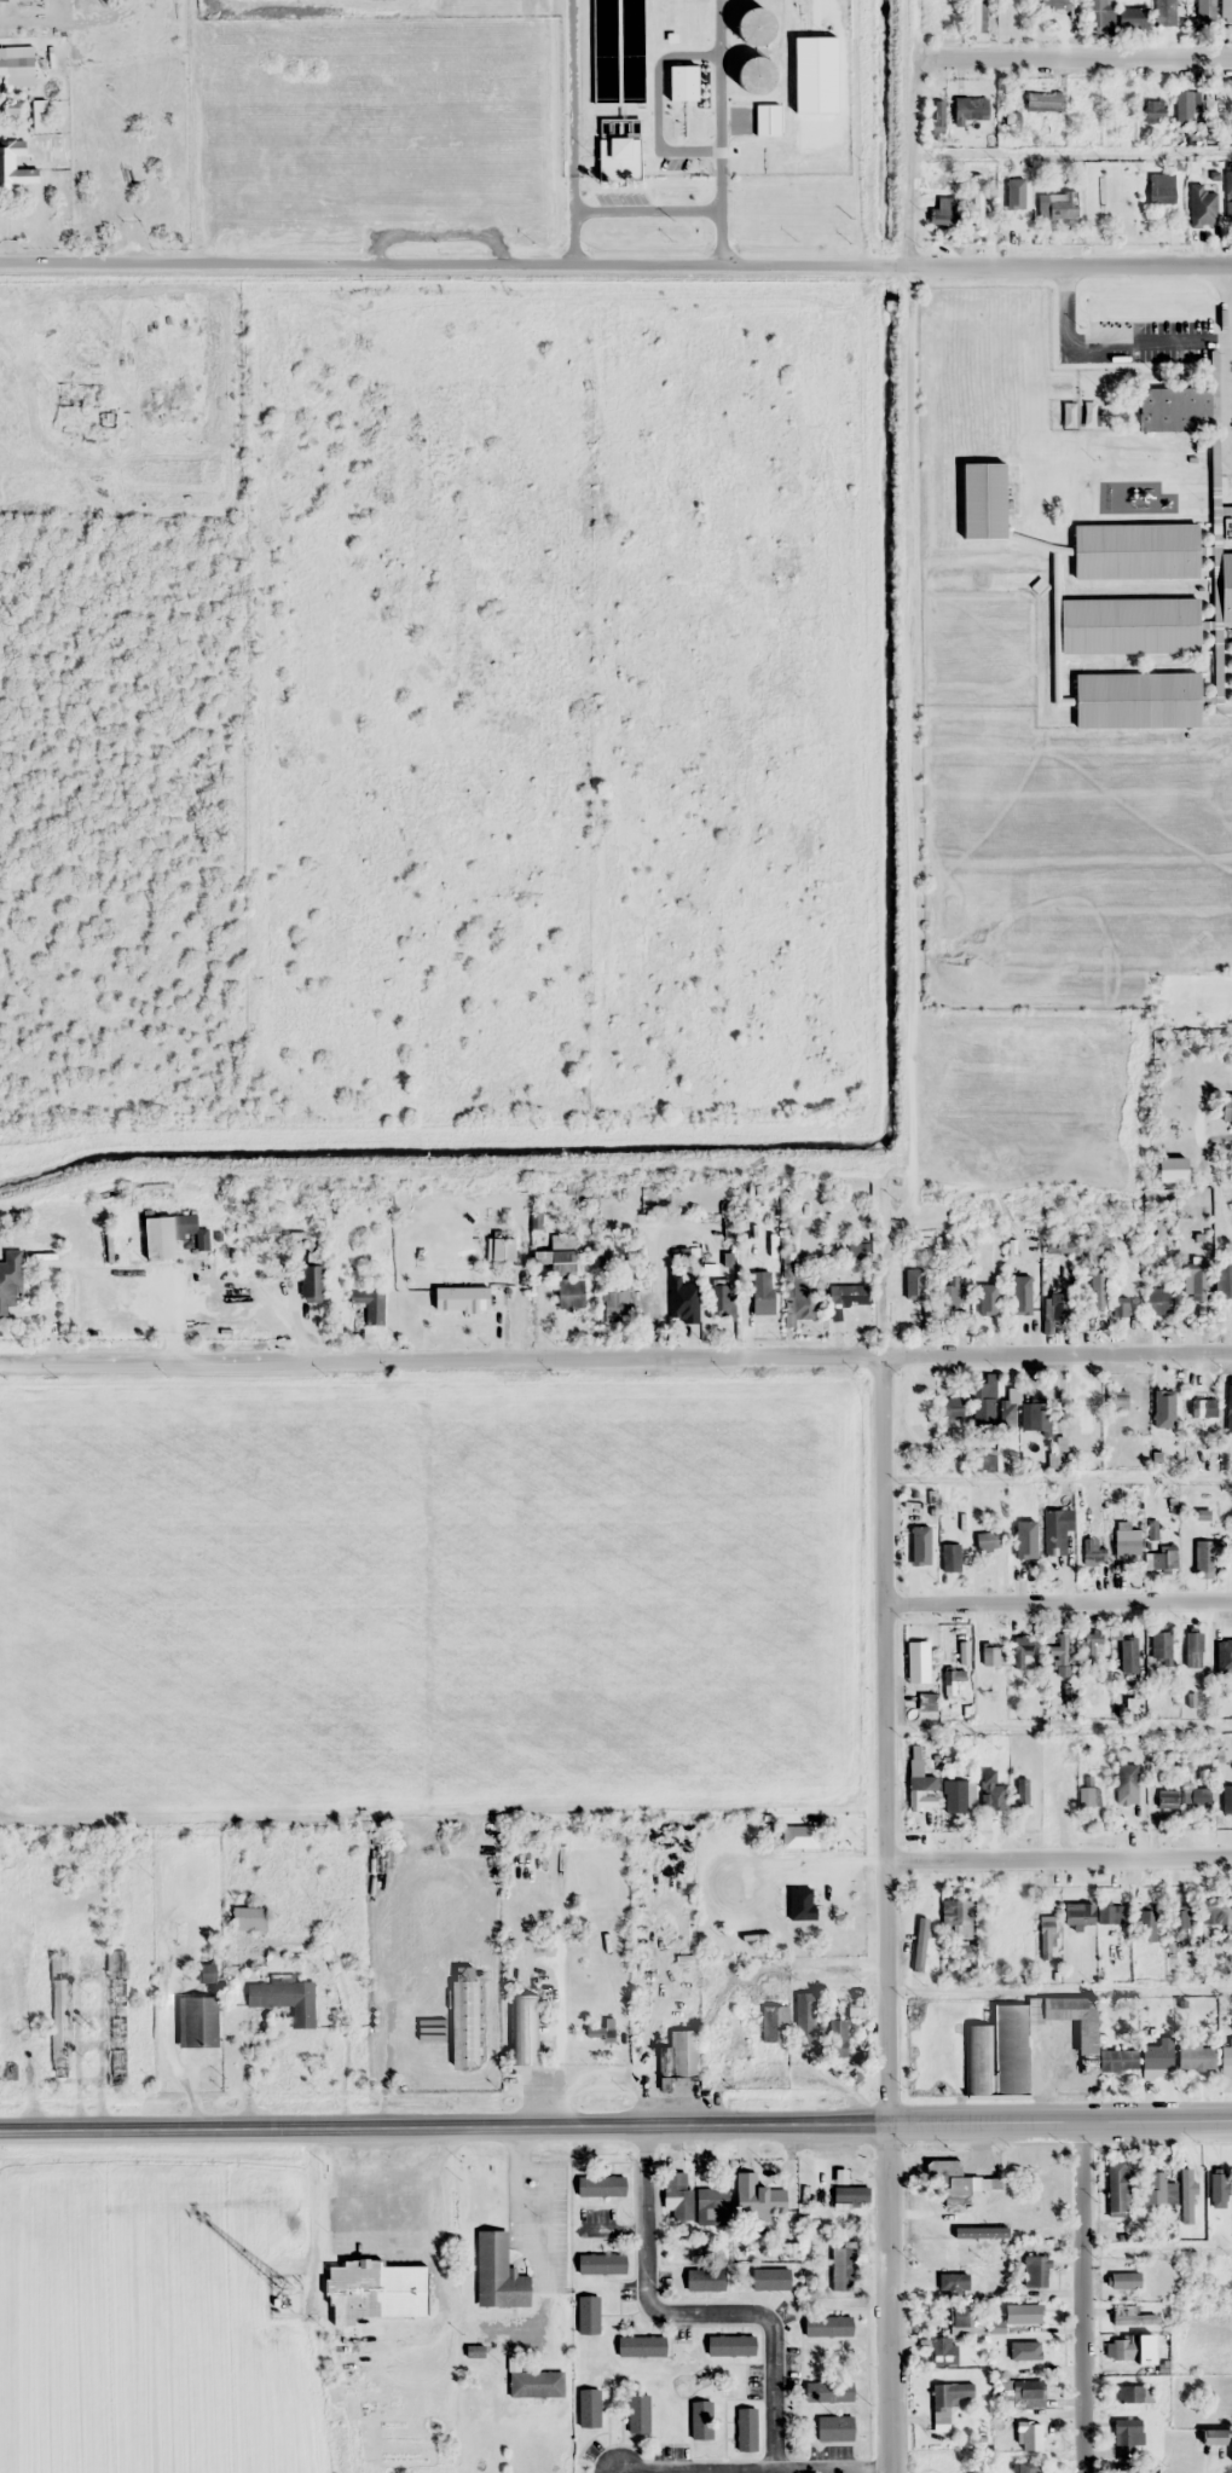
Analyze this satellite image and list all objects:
building: (15, 0)
building: (1059, 4)
building: (1203, 6)
building: (1225, 8)
building: (947, 11)
building: (1095, 12)
building: (1163, 12)
building: (1007, 13)
building: (976, 16)
building: (1130, 17)
building: (758, 28)
road: (1083, 63)
building: (21, 66)
building: (759, 76)
building: (686, 83)
building: (1041, 100)
building: (11, 108)
building: (968, 108)
building: (1115, 108)
building: (1184, 108)
building: (1152, 111)
building: (937, 117)
building: (1012, 118)
building: (769, 120)
building: (620, 160)
building: (13, 169)
building: (1100, 170)
building: (1159, 189)
building: (1227, 195)
building: (1013, 197)
building: (977, 201)
building: (1055, 205)
building: (1201, 205)
building: (939, 212)
road: (615, 255)
building: (77, 394)
building: (981, 499)
building: (1133, 550)
building: (1225, 587)
building: (1128, 625)
building: (1141, 697)
building: (1227, 1108)
building: (1175, 1170)
building: (585, 1193)
building: (173, 1235)
building: (563, 1263)
building: (1224, 1280)
building: (10, 1282)
building: (1196, 1282)
building: (313, 1284)
building: (1098, 1290)
building: (762, 1291)
building: (846, 1293)
building: (572, 1295)
building: (805, 1297)
building: (463, 1299)
building: (683, 1299)
building: (722, 1299)
building: (953, 1299)
building: (914, 1301)
building: (1159, 1301)
building: (618, 1303)
building: (1024, 1304)
building: (370, 1305)
building: (987, 1308)
building: (1121, 1308)
building: (1055, 1310)
road: (615, 1360)
building: (1011, 1396)
building: (1120, 1400)
building: (984, 1402)
building: (1166, 1406)
building: (953, 1408)
building: (1205, 1408)
building: (1230, 1411)
building: (1039, 1415)
building: (1059, 1455)
building: (983, 1459)
building: (1016, 1519)
building: (915, 1523)
building: (1058, 1533)
building: (988, 1541)
building: (1128, 1542)
building: (1091, 1548)
building: (952, 1558)
building: (1162, 1558)
road: (1058, 1603)
building: (1093, 1645)
building: (1161, 1649)
building: (1195, 1650)
building: (1023, 1652)
building: (991, 1656)
building: (1060, 1656)
building: (1129, 1656)
building: (1225, 1656)
building: (919, 1662)
building: (954, 1684)
building: (929, 1702)
road: (886, 1738)
building: (1059, 1778)
building: (1128, 1778)
building: (960, 1791)
building: (924, 1794)
building: (1089, 1794)
building: (991, 1795)
building: (1201, 1800)
building: (1168, 1801)
building: (800, 1837)
road: (1060, 1860)
building: (1216, 1911)
building: (1094, 1915)
building: (1182, 1917)
building: (958, 1918)
building: (250, 1919)
building: (1147, 1927)
building: (209, 1973)
building: (287, 1999)
building: (117, 2016)
building: (465, 2016)
building: (60, 2020)
building: (805, 2020)
building: (198, 2022)
building: (775, 2023)
building: (524, 2031)
building: (1089, 2035)
building: (839, 2038)
building: (1013, 2050)
building: (1228, 2054)
building: (681, 2055)
building: (1159, 2056)
building: (1197, 2058)
building: (981, 2061)
road: (615, 2121)
building: (960, 2183)
building: (602, 2185)
building: (1120, 2188)
building: (1220, 2188)
building: (1159, 2190)
building: (677, 2195)
building: (851, 2195)
building: (759, 2197)
building: (713, 2206)
building: (602, 2264)
building: (843, 2269)
building: (1037, 2271)
building: (498, 2272)
building: (707, 2278)
building: (771, 2278)
building: (1126, 2280)
building: (952, 2283)
building: (377, 2290)
road: (889, 2295)
road: (1083, 2297)
building: (1020, 2312)
building: (589, 2315)
building: (1132, 2316)
building: (965, 2318)
building: (829, 2326)
building: (733, 2345)
building: (643, 2346)
building: (1023, 2347)
building: (1122, 2349)
building: (942, 2350)
building: (536, 2384)
building: (829, 2391)
building: (1018, 2392)
building: (1133, 2393)
building: (949, 2396)
building: (590, 2408)
building: (640, 2414)
building: (702, 2420)
building: (837, 2428)
building: (747, 2429)
building: (1028, 2436)
building: (1211, 2436)
building: (1126, 2439)
building: (1231, 2450)
building: (1026, 2467)

